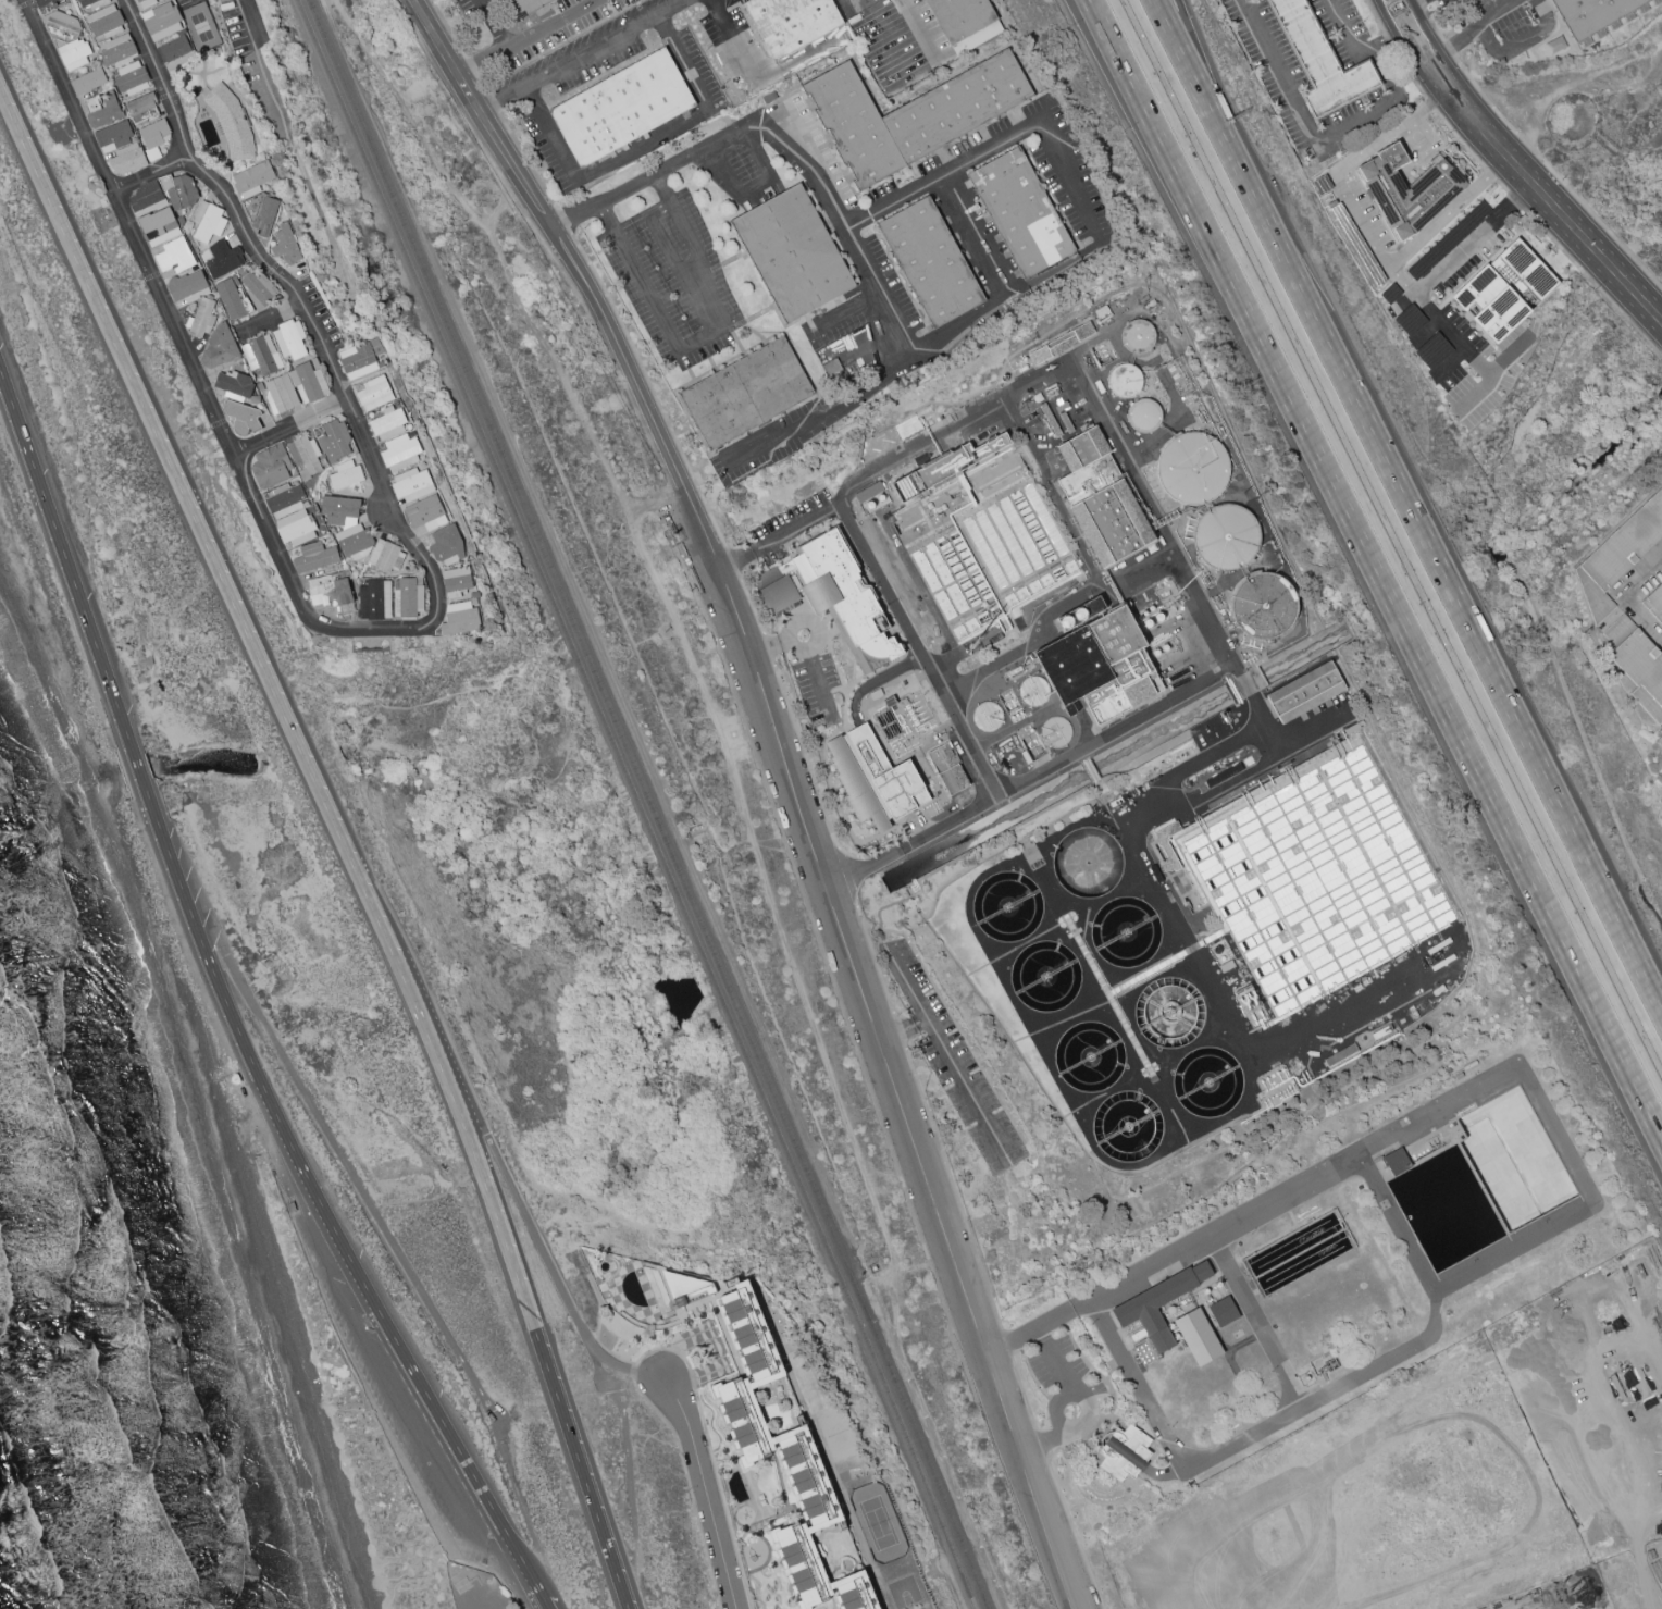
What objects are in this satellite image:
building: (41, 2)
building: (85, 2)
parking lot: (1440, 2)
building: (145, 3)
road: (1421, 4)
building: (528, 5)
road: (1409, 5)
road: (1099, 9)
building: (1591, 14)
road: (1375, 16)
road: (1484, 16)
building: (103, 20)
building: (161, 21)
road: (492, 23)
building: (791, 23)
building: (964, 23)
building: (62, 24)
road: (1432, 25)
parking lot: (1504, 26)
road: (917, 28)
road: (447, 29)
road: (1410, 33)
road: (526, 38)
road: (1389, 38)
road: (1388, 39)
road: (1520, 42)
building: (174, 48)
road: (1446, 50)
road: (1448, 50)
building: (117, 51)
road: (1360, 52)
building: (74, 53)
road: (582, 54)
building: (1319, 60)
road: (261, 66)
road: (470, 67)
road: (1409, 72)
road: (760, 75)
building: (131, 78)
parking lot: (1283, 78)
building: (87, 82)
road: (480, 83)
road: (1570, 83)
road: (1211, 89)
building: (769, 98)
road: (491, 100)
road: (1431, 104)
building: (140, 108)
building: (957, 108)
building: (621, 109)
road: (1299, 109)
building: (104, 111)
building: (854, 127)
building: (113, 137)
building: (153, 137)
road: (1461, 140)
road: (645, 146)
building: (127, 159)
road: (525, 160)
road: (149, 175)
parking lot: (742, 175)
road: (1490, 175)
road: (1554, 176)
building: (252, 178)
road: (1071, 181)
road: (752, 186)
road: (1502, 187)
building: (1437, 188)
building: (179, 191)
building: (145, 196)
road: (1541, 198)
road: (533, 199)
road: (1516, 202)
building: (260, 213)
building: (1021, 213)
road: (563, 221)
building: (208, 222)
road: (845, 223)
road: (1363, 223)
building: (159, 226)
road: (661, 237)
road: (976, 237)
building: (285, 245)
building: (792, 255)
building: (174, 256)
building: (222, 260)
building: (931, 263)
parking lot: (672, 279)
road: (1403, 280)
road: (1435, 280)
road: (1592, 284)
building: (187, 288)
building: (258, 288)
building: (1504, 292)
road: (289, 295)
building: (230, 299)
road: (849, 313)
building: (200, 319)
road: (265, 319)
road: (699, 337)
building: (1138, 337)
storage tank: (1138, 337)
building: (289, 339)
building: (1062, 342)
building: (218, 349)
road: (1508, 352)
building: (261, 355)
building: (357, 360)
road: (1450, 361)
road: (196, 376)
building: (1125, 381)
storage tank: (1125, 381)
building: (233, 385)
building: (294, 388)
road: (652, 391)
building: (372, 393)
building: (746, 394)
road: (1474, 394)
building: (1054, 411)
building: (1144, 416)
storage tank: (1144, 416)
building: (241, 417)
building: (387, 424)
road: (288, 430)
building: (333, 441)
road: (1119, 444)
building: (400, 453)
building: (303, 456)
building: (957, 462)
building: (271, 467)
building: (1193, 469)
storage tank: (1193, 469)
road: (675, 471)
building: (345, 474)
building: (410, 485)
building: (869, 492)
building: (1103, 497)
road: (656, 505)
road: (1409, 507)
building: (425, 515)
building: (289, 516)
building: (345, 523)
road: (780, 536)
building: (1226, 537)
storage tank: (1226, 537)
building: (1618, 555)
building: (385, 556)
building: (314, 557)
road: (65, 559)
road: (733, 567)
road: (1382, 574)
building: (456, 579)
road: (1097, 580)
building: (328, 590)
building: (833, 595)
road: (1623, 596)
building: (410, 597)
building: (373, 598)
building: (1654, 604)
building: (1265, 606)
storage tank: (1265, 606)
road: (753, 612)
building: (459, 618)
road: (795, 622)
building: (1121, 646)
road: (769, 647)
road: (685, 648)
road: (767, 648)
road: (962, 649)
building: (1638, 665)
building: (1074, 666)
road: (819, 688)
building: (1142, 690)
building: (1033, 692)
storage tank: (1033, 692)
building: (1306, 692)
building: (876, 694)
building: (890, 701)
building: (1106, 702)
road: (845, 716)
building: (987, 717)
storage tank: (987, 717)
building: (1352, 728)
building: (1056, 733)
storage tank: (1056, 733)
building: (947, 768)
road: (139, 770)
road: (809, 771)
road: (123, 773)
building: (875, 779)
railway: (638, 803)
railway: (649, 803)
road: (339, 838)
building: (1088, 863)
storage tank: (1088, 863)
road: (846, 874)
building: (1311, 875)
building: (1007, 906)
storage tank: (1007, 906)
road: (810, 915)
building: (1127, 932)
storage tank: (1127, 932)
road: (200, 939)
road: (875, 960)
building: (1226, 967)
road: (856, 975)
building: (1046, 979)
storage tank: (1046, 979)
building: (1243, 994)
building: (1169, 1013)
storage tank: (1169, 1013)
road: (901, 1025)
road: (901, 1035)
road: (905, 1036)
road: (947, 1054)
building: (1340, 1055)
building: (1089, 1057)
storage tank: (1089, 1057)
parking lot: (953, 1063)
building: (235, 1079)
building: (1207, 1081)
storage tank: (1207, 1081)
building: (1128, 1126)
storage tank: (1128, 1126)
road: (496, 1158)
road: (953, 1190)
road: (318, 1195)
building: (294, 1210)
road: (1570, 1218)
road: (1397, 1222)
road: (598, 1304)
building: (1158, 1307)
road: (1063, 1311)
building: (1224, 1313)
road: (1255, 1319)
building: (1199, 1338)
road: (1006, 1345)
road: (599, 1356)
road: (633, 1371)
road: (1070, 1381)
parking lot: (1063, 1389)
road: (1022, 1395)
parking lot: (392, 1398)
road: (1055, 1407)
road: (705, 1432)
park: (839, 1433)
road: (1040, 1445)
road: (1052, 1450)
building: (1123, 1452)
road: (461, 1453)
building: (782, 1459)
road: (628, 1469)
road: (1166, 1473)
road: (689, 1487)
road: (705, 1492)
road: (1038, 1511)
park: (877, 1523)
road: (495, 1572)
building: (461, 1585)
park: (904, 1593)
road: (641, 1597)
road: (545, 1605)

